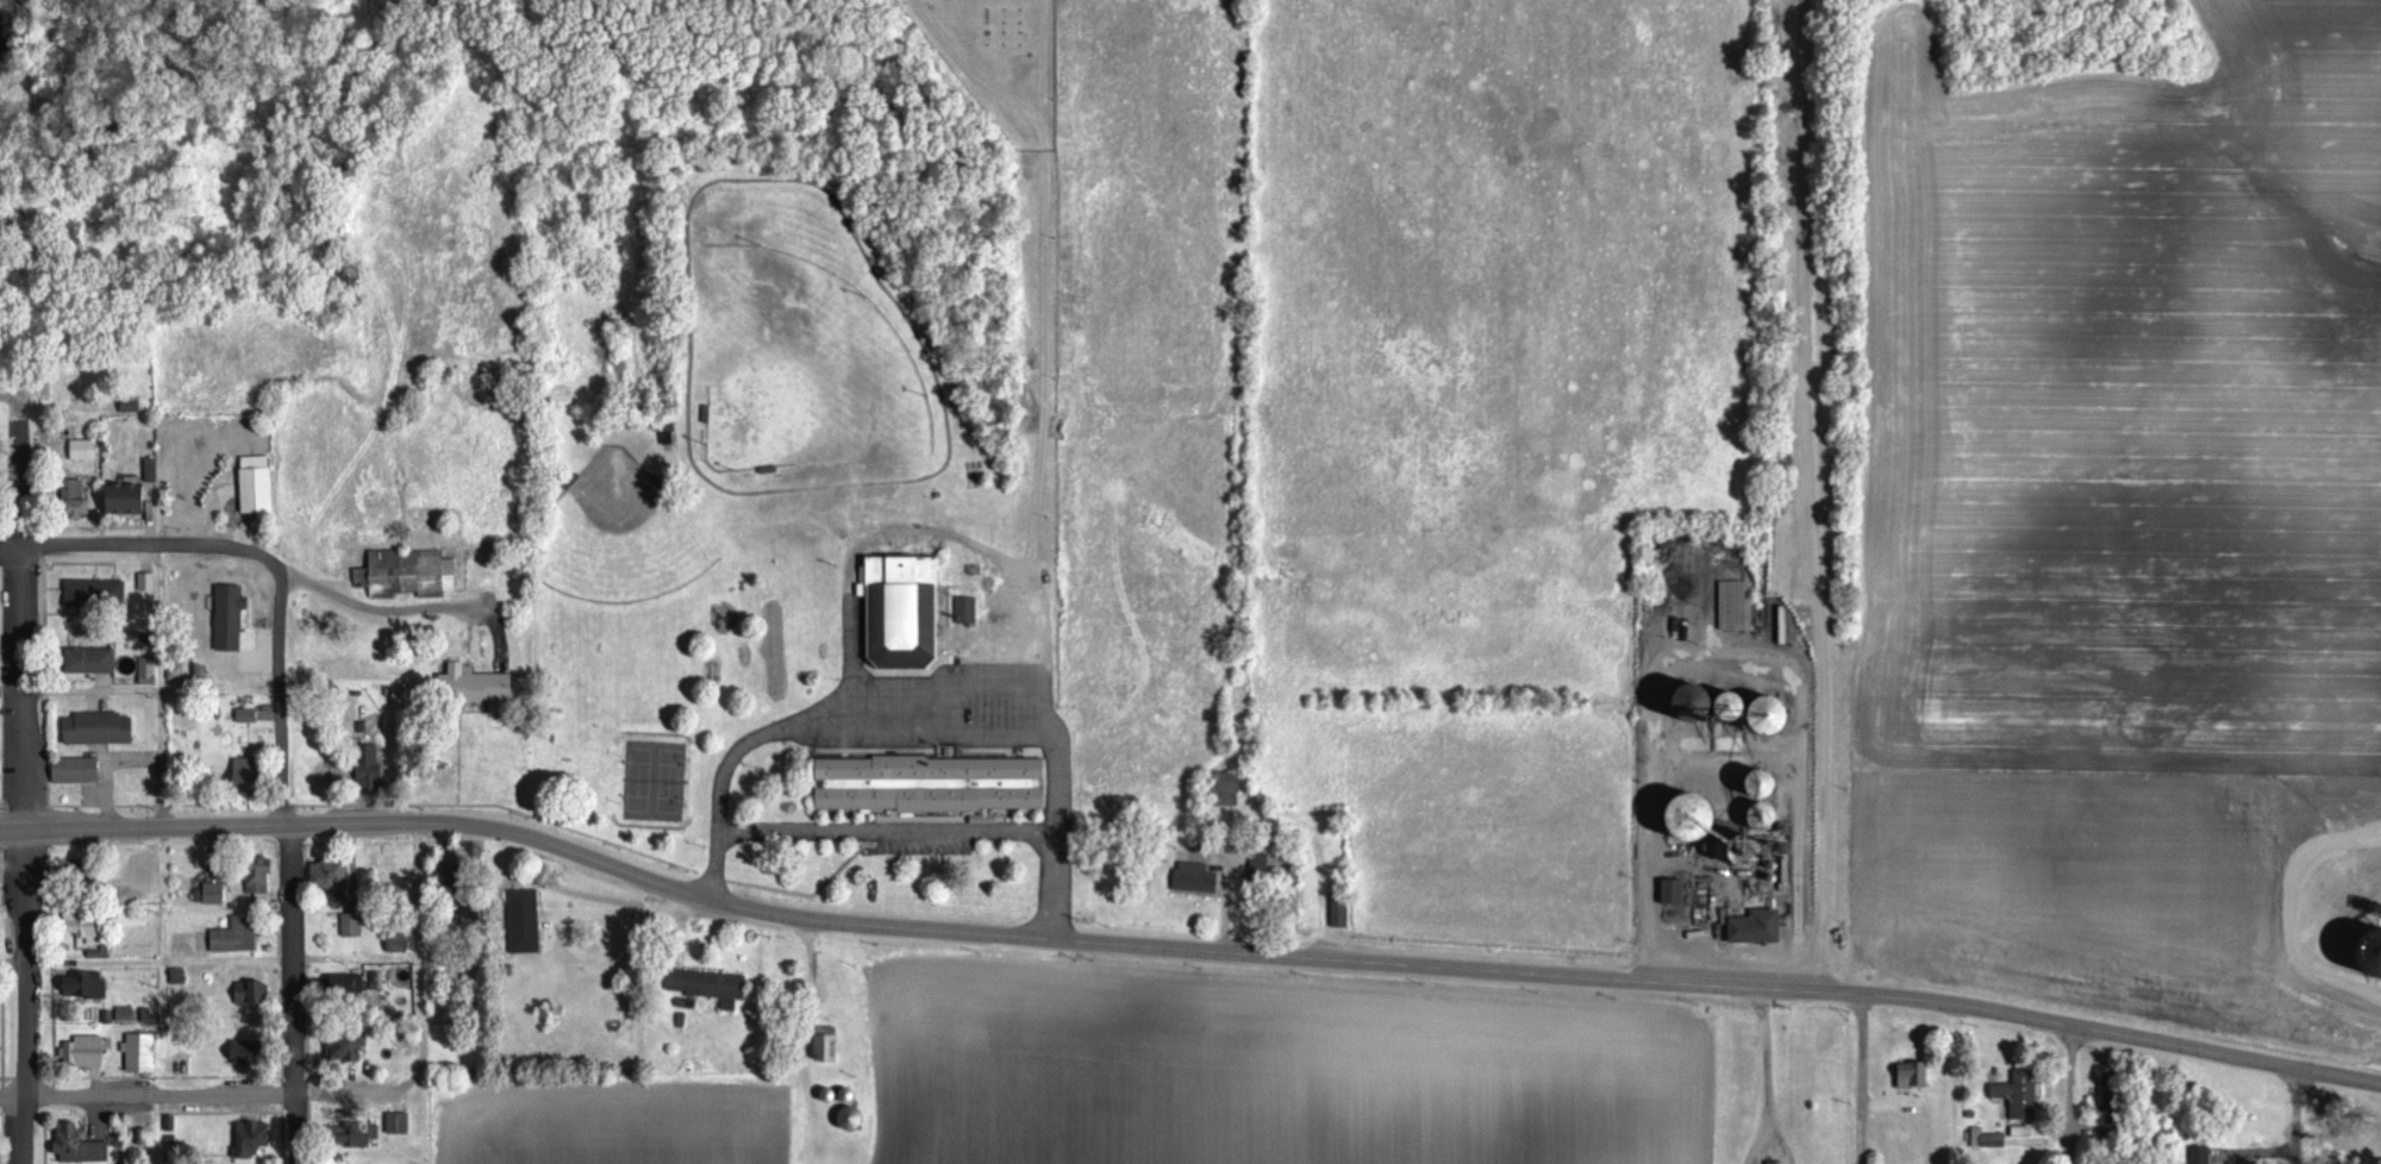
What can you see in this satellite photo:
park: (801, 368)
building: (135, 406)
building: (86, 450)
building: (262, 484)
road: (1810, 496)
building: (132, 499)
building: (82, 500)
road: (143, 547)
building: (412, 574)
building: (150, 582)
building: (99, 594)
road: (329, 594)
building: (969, 611)
building: (907, 612)
building: (236, 617)
building: (0, 651)
building: (95, 661)
building: (180, 670)
building: (151, 671)
building: (483, 684)
road: (145, 690)
building: (1717, 707)
building: (249, 715)
building: (105, 728)
building: (373, 766)
building: (80, 771)
building: (254, 771)
park: (654, 776)
building: (938, 786)
building: (1235, 790)
building: (1755, 796)
building: (1, 801)
road: (326, 824)
road: (852, 826)
road: (1056, 832)
road: (17, 855)
building: (1264, 864)
road: (288, 868)
building: (148, 870)
building: (2, 876)
building: (332, 877)
building: (263, 880)
building: (1198, 880)
building: (1669, 891)
building: (218, 894)
building: (1343, 914)
building: (531, 921)
building: (85, 925)
building: (354, 925)
building: (1751, 927)
building: (239, 935)
road: (145, 960)
road: (415, 960)
road: (1513, 971)
building: (87, 987)
building: (714, 987)
building: (255, 993)
building: (127, 1014)
road: (1762, 1043)
building: (832, 1045)
building: (349, 1049)
building: (88, 1052)
building: (255, 1052)
building: (143, 1053)
building: (186, 1065)
building: (1907, 1076)
road: (1860, 1079)
road: (196, 1095)
building: (2016, 1095)
road: (2069, 1095)
road: (2295, 1116)
building: (861, 1119)
building: (402, 1124)
road: (1756, 1131)
road: (1774, 1131)
building: (2018, 1132)
building: (365, 1135)
building: (255, 1139)
building: (1985, 1139)
building: (82, 1146)
building: (2198, 1154)
building: (1774, 1163)

